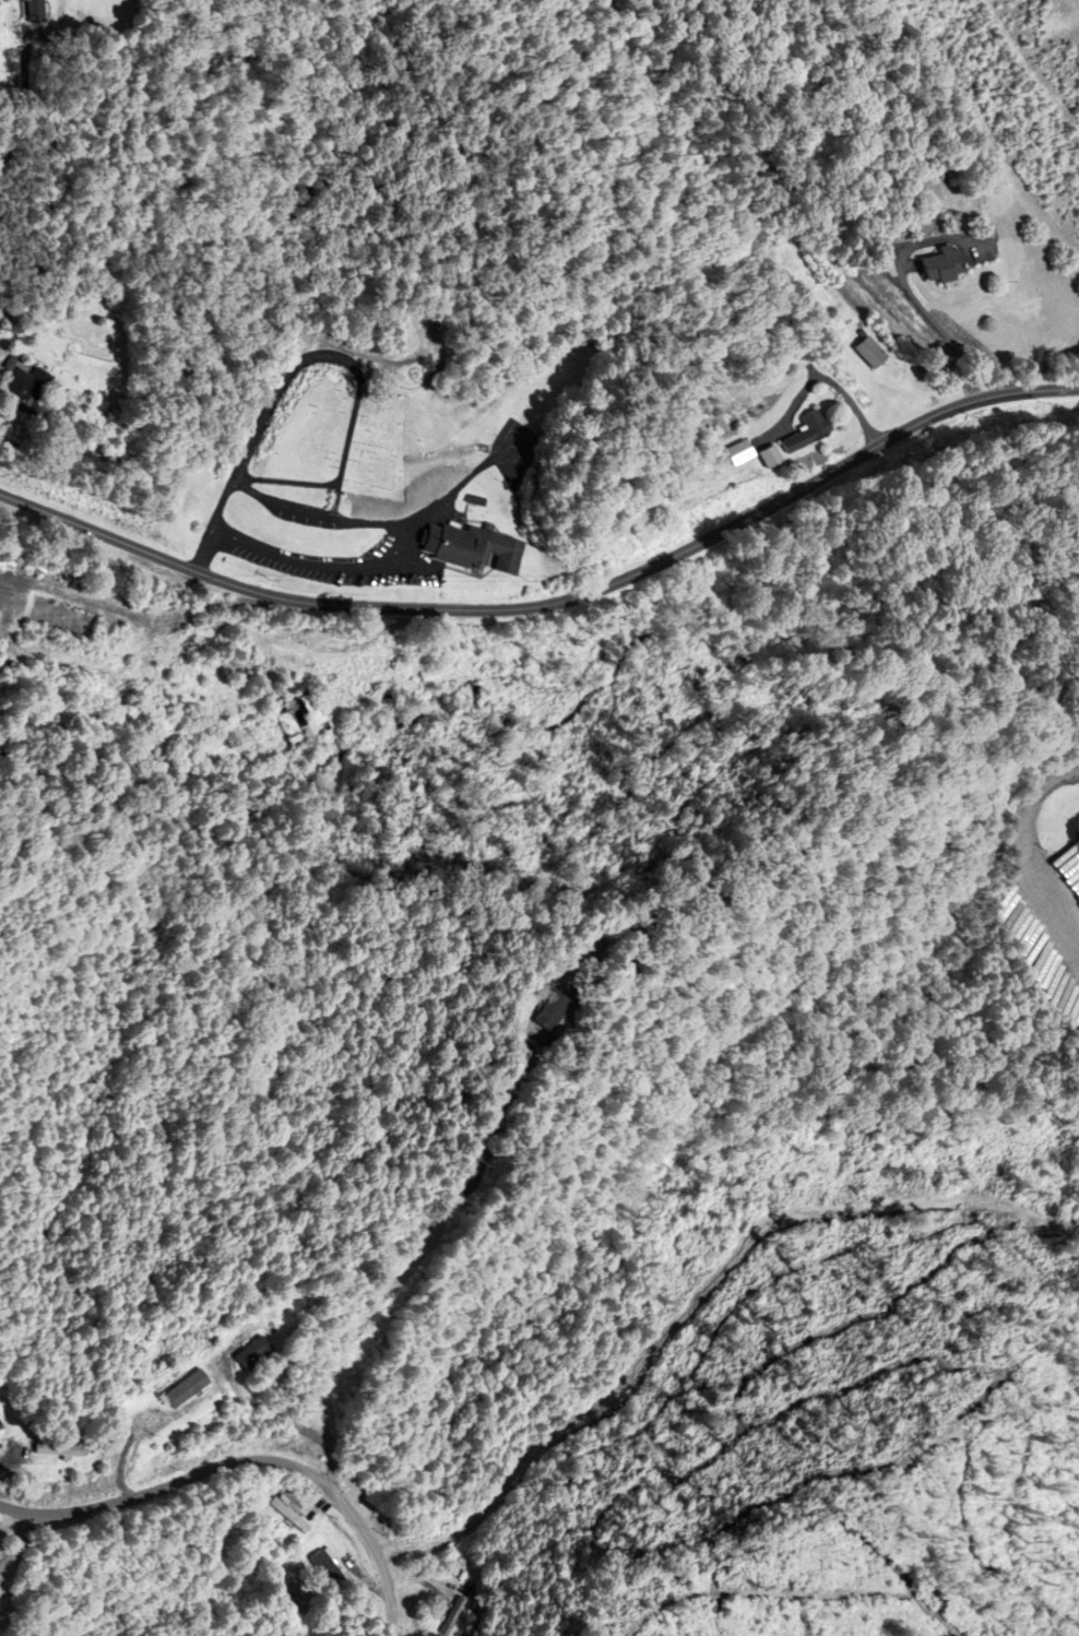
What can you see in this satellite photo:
road: (28, 98)
building: (951, 265)
road: (945, 333)
building: (0, 348)
building: (871, 354)
road: (323, 360)
road: (825, 380)
building: (39, 386)
park: (343, 432)
building: (814, 432)
road: (57, 436)
building: (108, 442)
building: (746, 453)
road: (459, 489)
building: (479, 547)
road: (415, 560)
parking lot: (345, 562)
road: (554, 605)
building: (307, 721)
road: (1034, 847)
building: (1071, 865)
building: (559, 1012)
road: (411, 1258)
building: (261, 1354)
building: (193, 1390)
building: (2, 1425)
building: (69, 1453)
road: (249, 1462)
building: (299, 1517)
building: (332, 1568)
building: (2, 1628)

